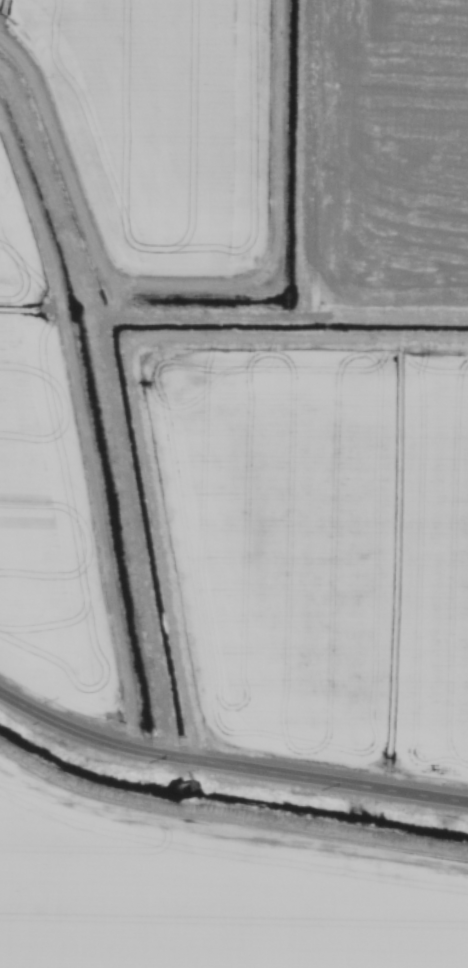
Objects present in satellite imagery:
road: (228, 766)

